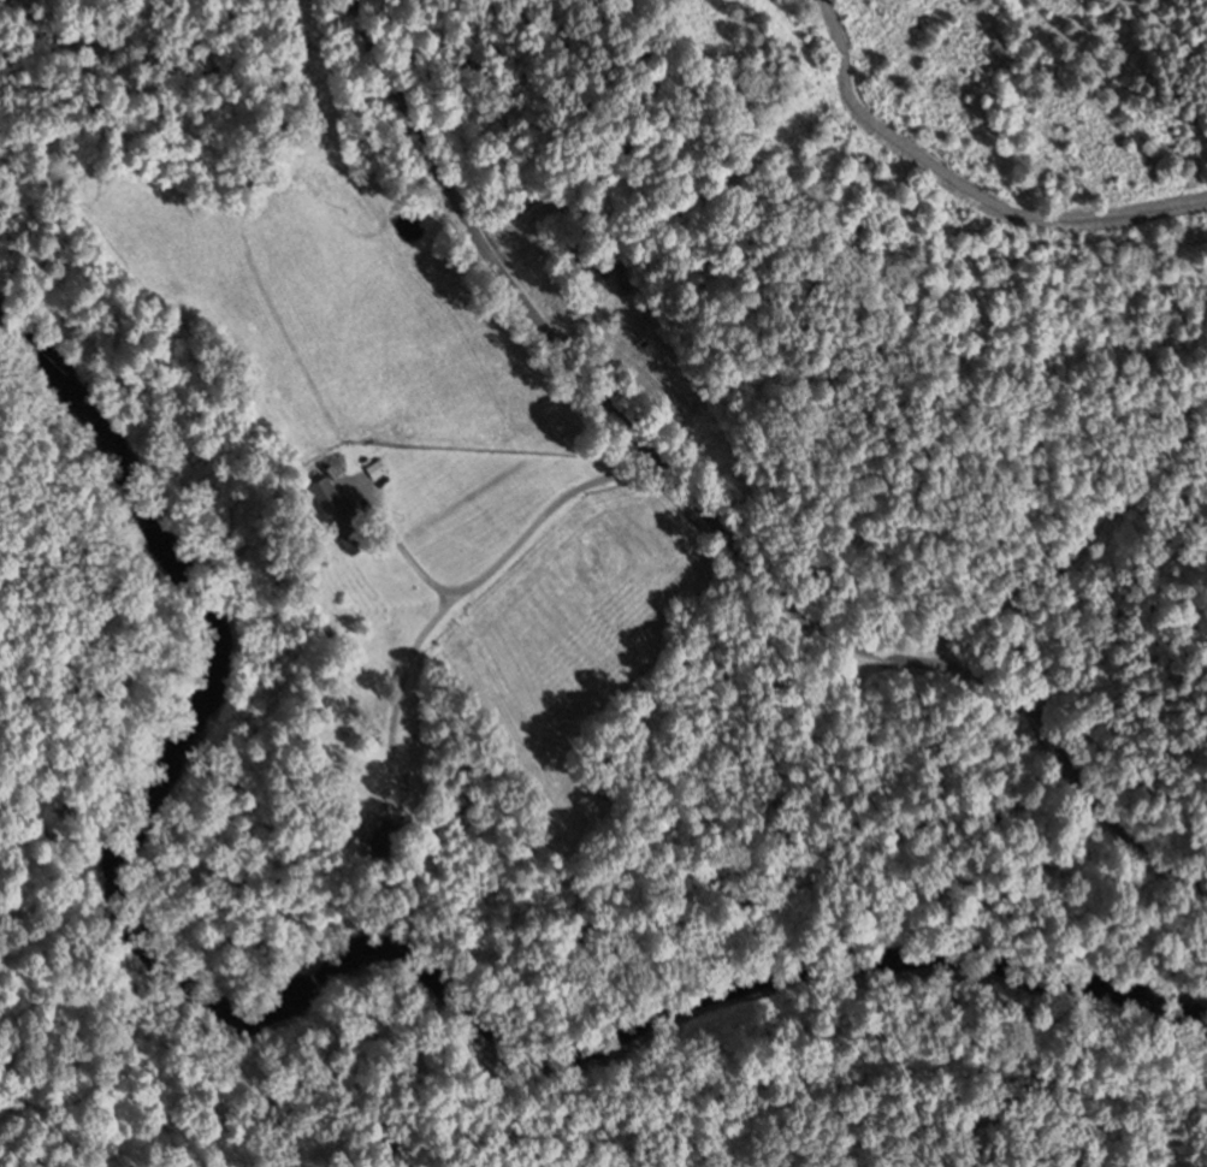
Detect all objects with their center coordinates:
road: (1061, 505)
road: (714, 520)
road: (892, 879)

